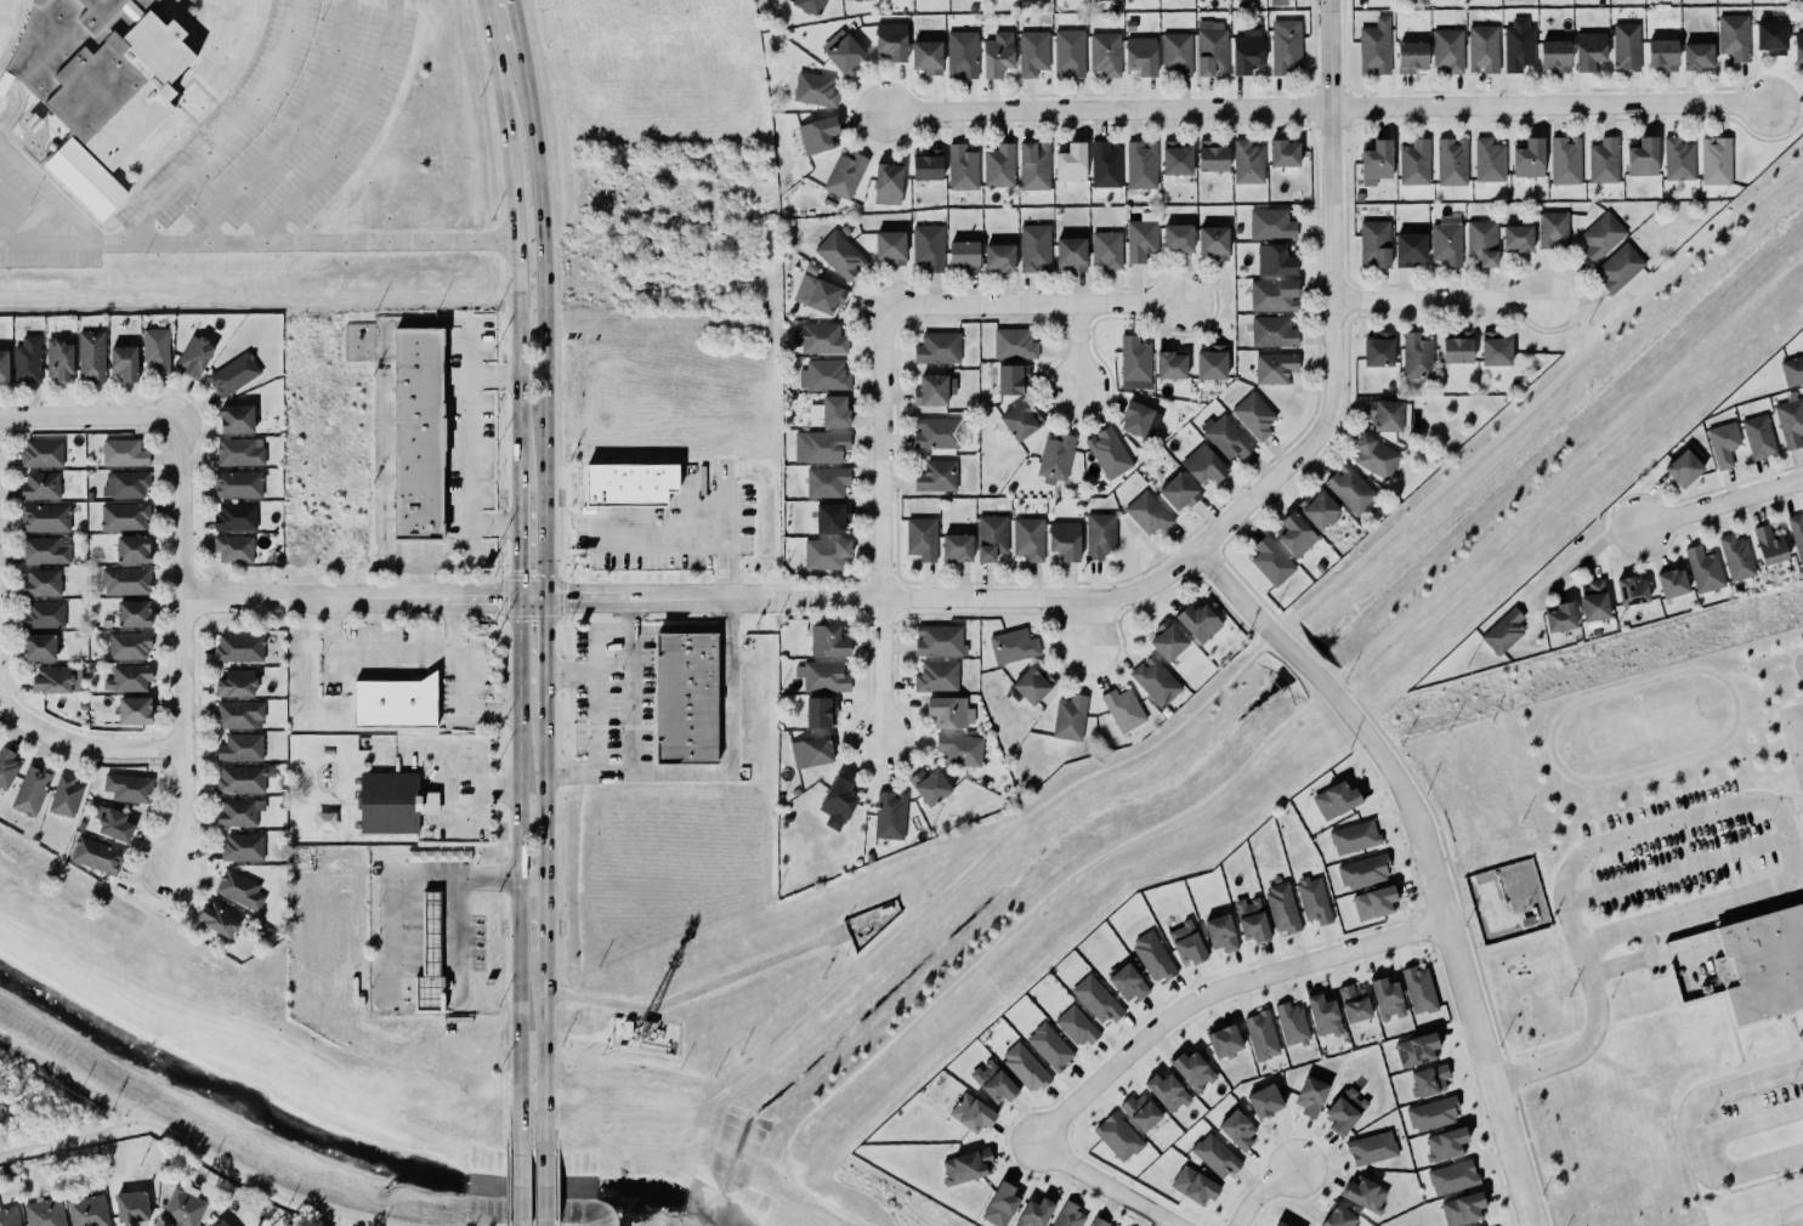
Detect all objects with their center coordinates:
building: (1099, 0)
building: (1286, 0)
building: (810, 5)
road: (517, 23)
building: (1734, 36)
building: (1770, 36)
building: (889, 41)
building: (1625, 45)
building: (1242, 46)
building: (1286, 46)
building: (1374, 46)
building: (1516, 46)
building: (1797, 47)
building: (923, 49)
building: (959, 49)
building: (1102, 49)
building: (1481, 49)
building: (1448, 50)
building: (1589, 50)
building: (1209, 51)
building: (1031, 52)
building: (1067, 52)
building: (1175, 52)
building: (996, 53)
building: (1662, 53)
building: (843, 55)
building: (1141, 55)
building: (1555, 55)
building: (1411, 56)
building: (1696, 56)
building: (97, 70)
building: (811, 84)
road: (11, 102)
road: (1327, 109)
road: (290, 132)
road: (347, 132)
building: (818, 135)
building: (1283, 153)
building: (1527, 153)
building: (1640, 154)
building: (1210, 157)
building: (1563, 157)
building: (1177, 158)
building: (1486, 158)
building: (1374, 159)
building: (1678, 159)
building: (1714, 159)
building: (1604, 160)
building: (1247, 161)
building: (1451, 161)
building: (1071, 163)
building: (1414, 163)
building: (925, 164)
building: (1141, 164)
building: (997, 165)
building: (1105, 165)
building: (1032, 166)
building: (962, 168)
road: (183, 174)
building: (845, 175)
building: (84, 176)
building: (888, 183)
road: (50, 195)
road: (1329, 200)
building: (1271, 223)
road: (17, 228)
building: (1553, 229)
building: (1515, 235)
building: (1601, 235)
building: (1178, 237)
road: (515, 239)
building: (1139, 239)
road: (314, 242)
building: (1212, 242)
building: (1445, 242)
building: (1482, 242)
building: (1374, 243)
building: (890, 246)
building: (926, 246)
building: (1407, 246)
building: (1034, 248)
building: (1105, 249)
building: (838, 251)
building: (1068, 254)
building: (963, 256)
building: (998, 257)
building: (1275, 260)
building: (1617, 265)
building: (818, 294)
building: (1271, 294)
road: (1440, 300)
road: (1031, 305)
road: (546, 322)
building: (1272, 331)
building: (817, 337)
building: (1013, 339)
road: (1077, 347)
building: (157, 348)
building: (937, 348)
building: (1378, 350)
building: (1495, 350)
building: (193, 353)
building: (91, 356)
building: (1416, 356)
building: (27, 359)
building: (1134, 359)
building: (59, 361)
building: (124, 363)
building: (1209, 363)
building: (1168, 365)
building: (4, 367)
building: (1791, 367)
building: (1275, 368)
building: (1007, 373)
building: (233, 374)
building: (823, 375)
road: (494, 378)
road: (1542, 388)
building: (934, 390)
building: (830, 410)
building: (1383, 411)
building: (1254, 415)
road: (89, 419)
building: (236, 419)
building: (1134, 419)
building: (1790, 421)
building: (1019, 422)
building: (413, 426)
building: (936, 431)
building: (1226, 437)
building: (1758, 437)
building: (1722, 441)
building: (822, 444)
building: (119, 447)
building: (239, 452)
building: (1106, 452)
building: (41, 453)
building: (1376, 455)
building: (1055, 458)
road: (1569, 462)
building: (1201, 465)
building: (1684, 466)
building: (934, 476)
building: (628, 481)
building: (827, 482)
building: (124, 483)
building: (39, 484)
building: (238, 484)
building: (1348, 487)
building: (1178, 492)
road: (1719, 500)
road: (520, 503)
building: (1319, 509)
building: (232, 513)
building: (1147, 513)
building: (42, 515)
building: (124, 516)
building: (829, 518)
road: (880, 522)
road: (493, 526)
road: (667, 528)
road: (727, 532)
building: (1796, 533)
building: (1295, 534)
building: (1100, 535)
building: (991, 537)
building: (922, 538)
building: (1027, 538)
building: (1062, 541)
building: (1769, 545)
building: (131, 546)
building: (957, 547)
building: (234, 549)
building: (44, 550)
building: (826, 554)
road: (1220, 557)
building: (1736, 557)
road: (1581, 560)
building: (1271, 561)
road: (467, 562)
road: (520, 562)
traffic signals: (520, 567)
building: (1702, 567)
road: (1201, 575)
building: (38, 580)
building: (126, 580)
road: (415, 580)
building: (1669, 580)
building: (1629, 588)
road: (1251, 590)
road: (1039, 598)
road: (467, 600)
traffic signals: (494, 600)
road: (533, 600)
traffic signals: (563, 600)
road: (605, 600)
road: (297, 601)
building: (1593, 601)
road: (1226, 606)
building: (134, 613)
building: (42, 614)
road: (626, 615)
building: (1560, 617)
building: (1196, 619)
road: (1084, 623)
traffic signals: (545, 625)
road: (452, 626)
building: (1502, 629)
road: (611, 631)
road: (545, 635)
building: (1166, 637)
building: (939, 640)
road: (1257, 640)
building: (828, 641)
building: (125, 643)
road: (178, 643)
road: (329, 643)
building: (1013, 646)
building: (39, 647)
building: (239, 647)
road: (1309, 649)
road: (433, 654)
road: (571, 674)
building: (935, 674)
building: (822, 676)
building: (57, 679)
building: (127, 679)
building: (234, 681)
building: (1156, 681)
building: (1031, 682)
road: (546, 692)
building: (686, 697)
building: (395, 703)
building: (131, 704)
building: (1121, 706)
building: (817, 709)
building: (946, 710)
road: (6, 711)
road: (492, 711)
building: (239, 714)
road: (1331, 716)
building: (1070, 717)
road: (96, 745)
building: (238, 745)
building: (810, 748)
building: (959, 749)
road: (1363, 757)
building: (5, 762)
road: (721, 771)
building: (239, 778)
building: (929, 781)
road: (1414, 782)
building: (125, 783)
building: (30, 788)
building: (66, 795)
road: (546, 796)
building: (835, 796)
building: (1337, 799)
road: (1202, 800)
building: (382, 802)
road: (1771, 805)
building: (885, 810)
building: (239, 812)
building: (113, 822)
building: (1353, 835)
building: (243, 847)
building: (98, 852)
road: (1427, 855)
road: (1674, 870)
building: (1363, 872)
road: (402, 879)
road: (521, 879)
road: (534, 881)
building: (239, 889)
building: (1314, 899)
building: (1374, 902)
building: (1280, 906)
road: (1491, 907)
road: (919, 910)
building: (220, 918)
road: (548, 918)
road: (1470, 918)
building: (1249, 919)
building: (1220, 932)
road: (457, 938)
building: (1186, 942)
building: (430, 955)
building: (1151, 955)
building: (1761, 961)
building: (1126, 981)
building: (1417, 987)
road: (699, 989)
road: (1218, 991)
building: (1385, 995)
road: (165, 997)
building: (1096, 999)
building: (1354, 1003)
building: (1323, 1015)
building: (1075, 1023)
building: (1292, 1023)
building: (1261, 1035)
building: (1801, 1038)
road: (888, 1039)
building: (1223, 1039)
road: (1584, 1044)
building: (1048, 1045)
building: (1417, 1049)
road: (548, 1056)
building: (1025, 1067)
building: (1191, 1068)
building: (1429, 1080)
building: (993, 1082)
building: (1166, 1089)
building: (1309, 1094)
building: (1263, 1099)
building: (1343, 1108)
building: (968, 1109)
building: (1139, 1109)
building: (1431, 1113)
road: (1689, 1118)
building: (1235, 1126)
building: (1118, 1136)
building: (1444, 1141)
building: (1372, 1147)
road: (198, 1150)
building: (1213, 1153)
building: (964, 1165)
road: (1739, 1174)
building: (1452, 1176)
park: (246, 1177)
road: (1106, 1185)
building: (1194, 1185)
road: (546, 1191)
road: (520, 1192)
road: (1261, 1192)
building: (1366, 1194)
building: (997, 1203)
building: (131, 1207)
building: (181, 1207)
building: (1461, 1207)
building: (87, 1210)
building: (44, 1213)
building: (1033, 1213)
building: (8, 1215)
building: (1070, 1215)
building: (1337, 1216)
road: (851, 1218)
road: (1782, 1220)
building: (1096, 1221)
building: (220, 1222)
building: (1278, 1224)

